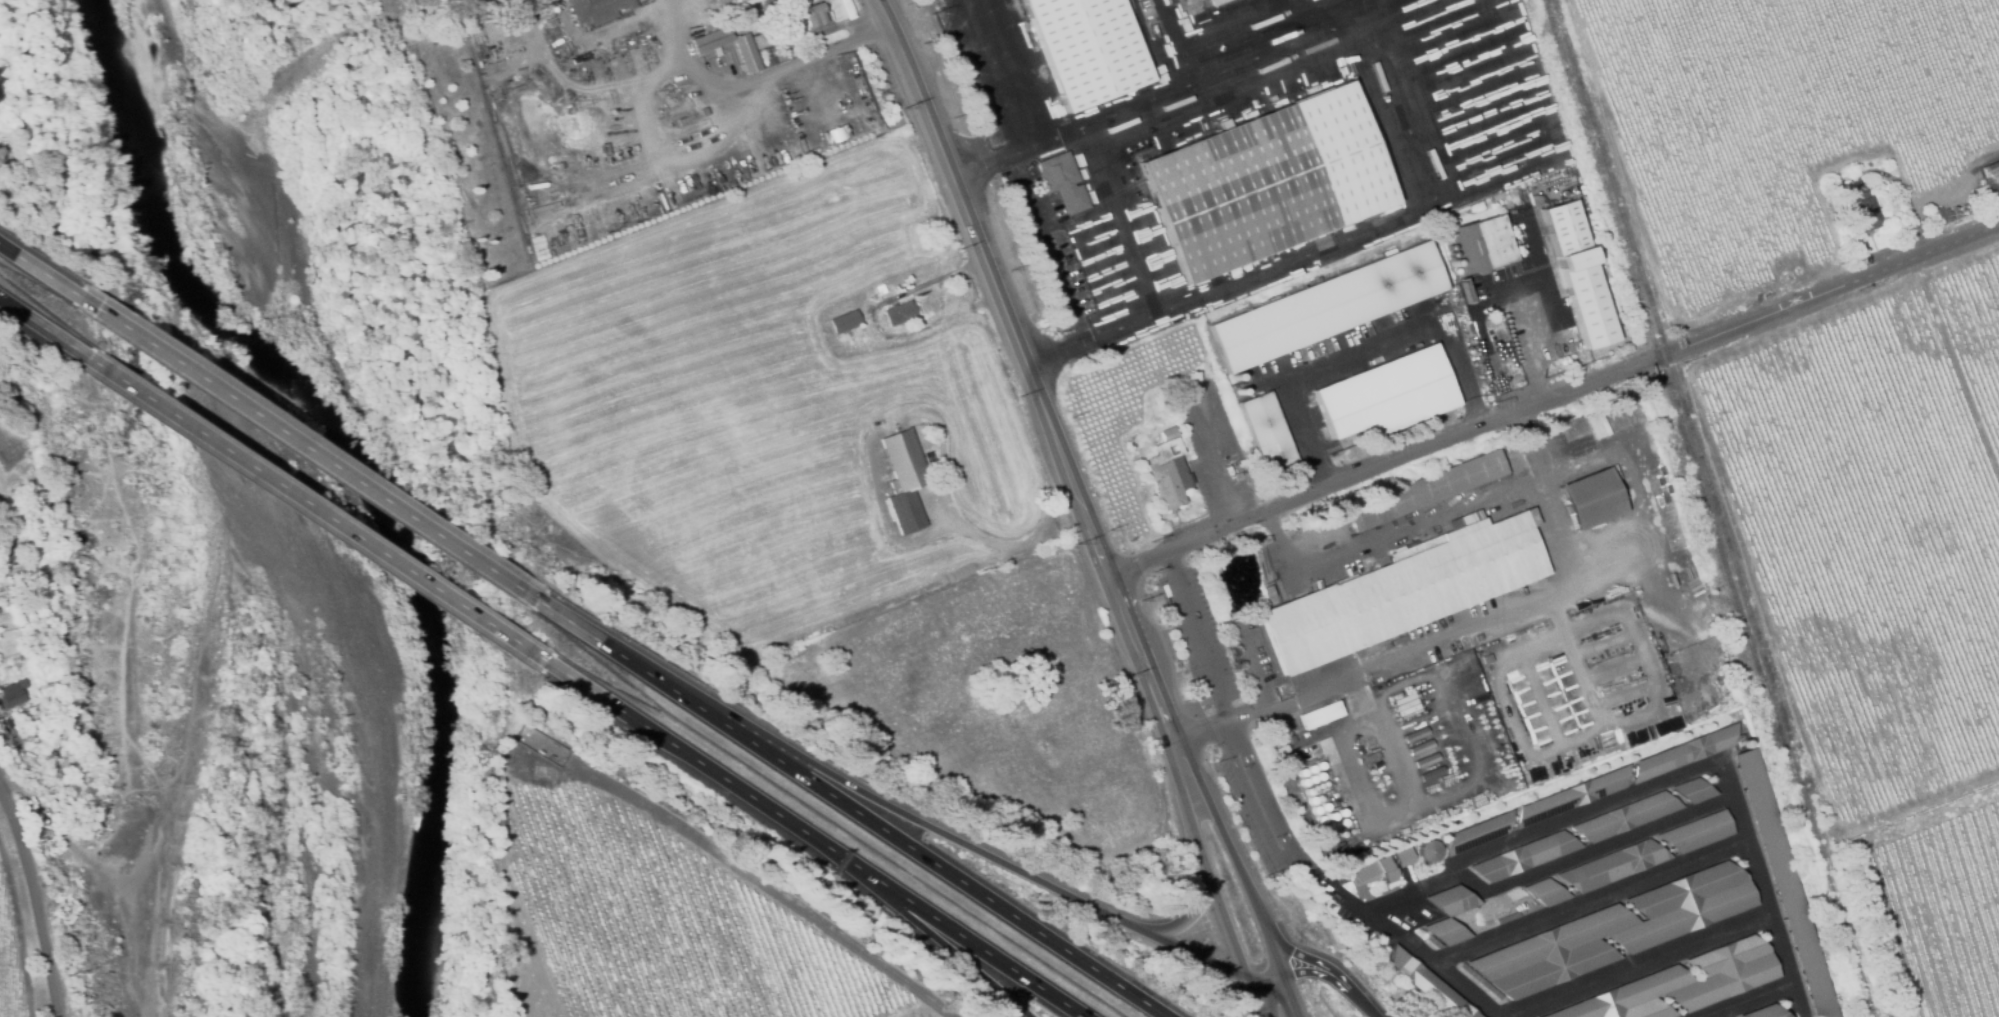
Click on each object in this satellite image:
building: (1190, 1)
building: (1216, 2)
building: (1017, 7)
building: (597, 10)
road: (1297, 15)
building: (811, 17)
building: (763, 39)
building: (711, 40)
building: (645, 41)
building: (1087, 49)
building: (747, 54)
road: (771, 73)
road: (1195, 73)
road: (980, 76)
road: (265, 133)
road: (985, 166)
building: (1990, 181)
building: (1062, 182)
building: (1267, 182)
building: (1861, 213)
building: (1955, 214)
building: (1935, 218)
building: (1564, 227)
building: (1481, 245)
building: (1575, 259)
building: (1455, 263)
road: (42, 272)
building: (1326, 307)
building: (1589, 308)
building: (900, 313)
building: (848, 321)
road: (47, 329)
road: (235, 332)
road: (1522, 344)
road: (1357, 348)
road: (1029, 369)
building: (1235, 378)
building: (1240, 391)
building: (1386, 395)
road: (1554, 399)
building: (1266, 431)
building: (1509, 450)
road: (312, 451)
river: (369, 470)
river: (381, 471)
building: (1167, 471)
river: (343, 480)
building: (904, 480)
building: (1426, 490)
building: (1591, 499)
railway: (1711, 507)
road: (319, 511)
road: (1389, 532)
building: (12, 545)
building: (1265, 573)
building: (1406, 589)
building: (1268, 592)
building: (2, 612)
road: (1480, 621)
building: (1478, 638)
road: (1196, 640)
building: (24, 646)
building: (1486, 659)
building: (13, 695)
building: (0, 707)
road: (195, 708)
building: (1320, 715)
road: (1200, 731)
building: (34, 740)
building: (1683, 751)
building: (21, 759)
building: (1319, 763)
building: (1310, 767)
road: (709, 769)
building: (1301, 771)
building: (1319, 774)
building: (1312, 777)
building: (1330, 779)
building: (1304, 780)
building: (1325, 781)
road: (1656, 782)
building: (1320, 783)
building: (1315, 785)
road: (1262, 788)
building: (1694, 789)
building: (1308, 790)
building: (1334, 795)
building: (1571, 795)
building: (1319, 796)
building: (1311, 799)
building: (1323, 806)
road: (1252, 807)
building: (1316, 809)
road: (852, 810)
building: (1338, 811)
building: (1329, 815)
building: (1626, 816)
building: (1320, 818)
building: (1342, 821)
building: (1333, 825)
building: (1323, 828)
building: (1478, 831)
building: (1698, 831)
building: (1430, 850)
building: (1525, 855)
building: (1403, 856)
road: (988, 861)
building: (1613, 864)
road: (1203, 865)
building: (1373, 870)
road: (1242, 875)
building: (1785, 882)
road: (1324, 886)
building: (1546, 891)
building: (1451, 899)
road: (34, 900)
road: (1189, 916)
building: (1445, 930)
building: (1615, 930)
road: (116, 947)
road: (949, 947)
road: (977, 947)
road: (1425, 962)
road: (1335, 983)
building: (1682, 983)
road: (1269, 985)
building: (1428, 985)
road: (1257, 1002)
building: (1766, 1011)

